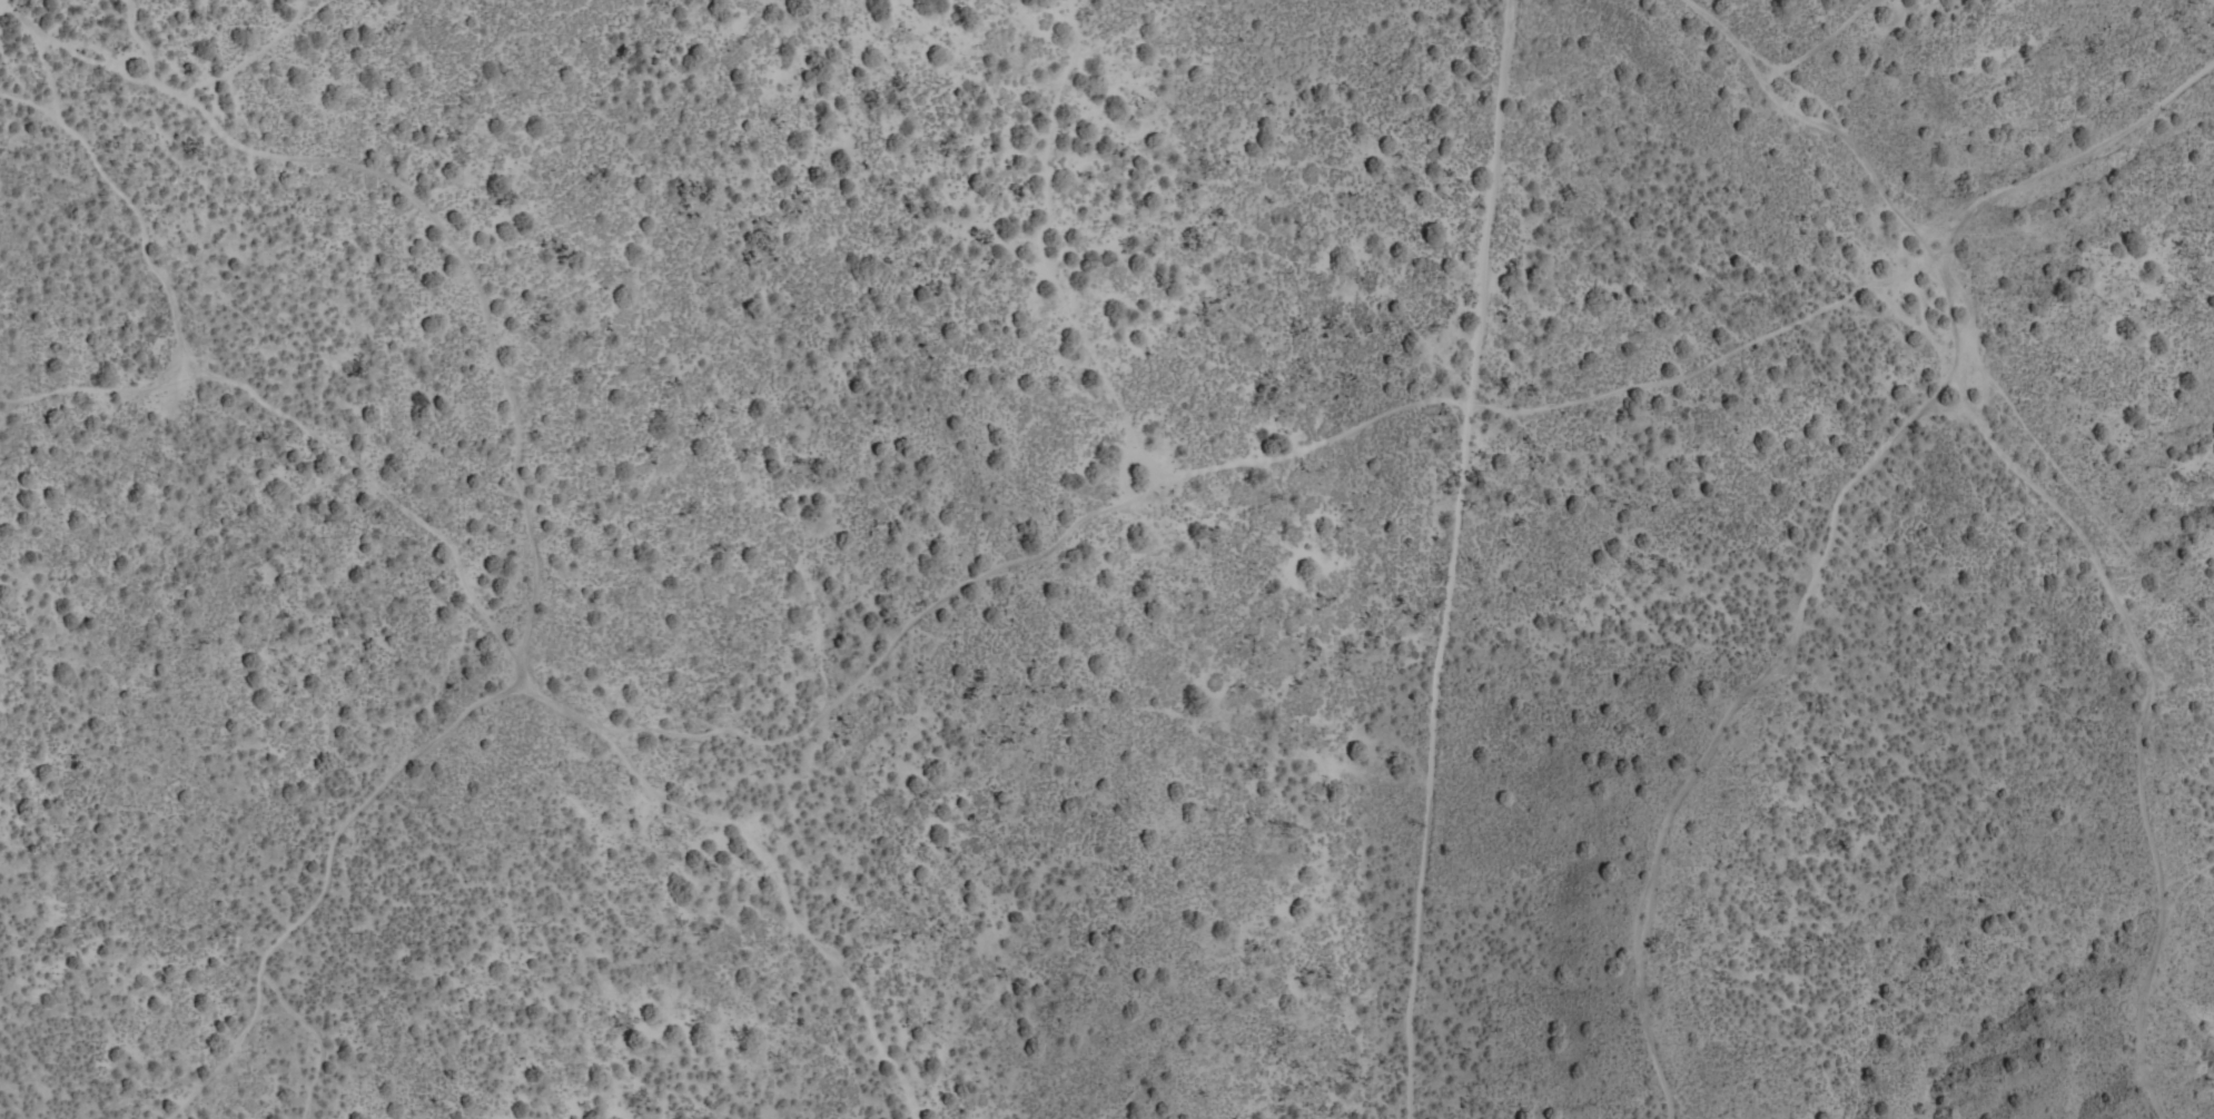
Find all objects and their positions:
road: (1452, 558)

